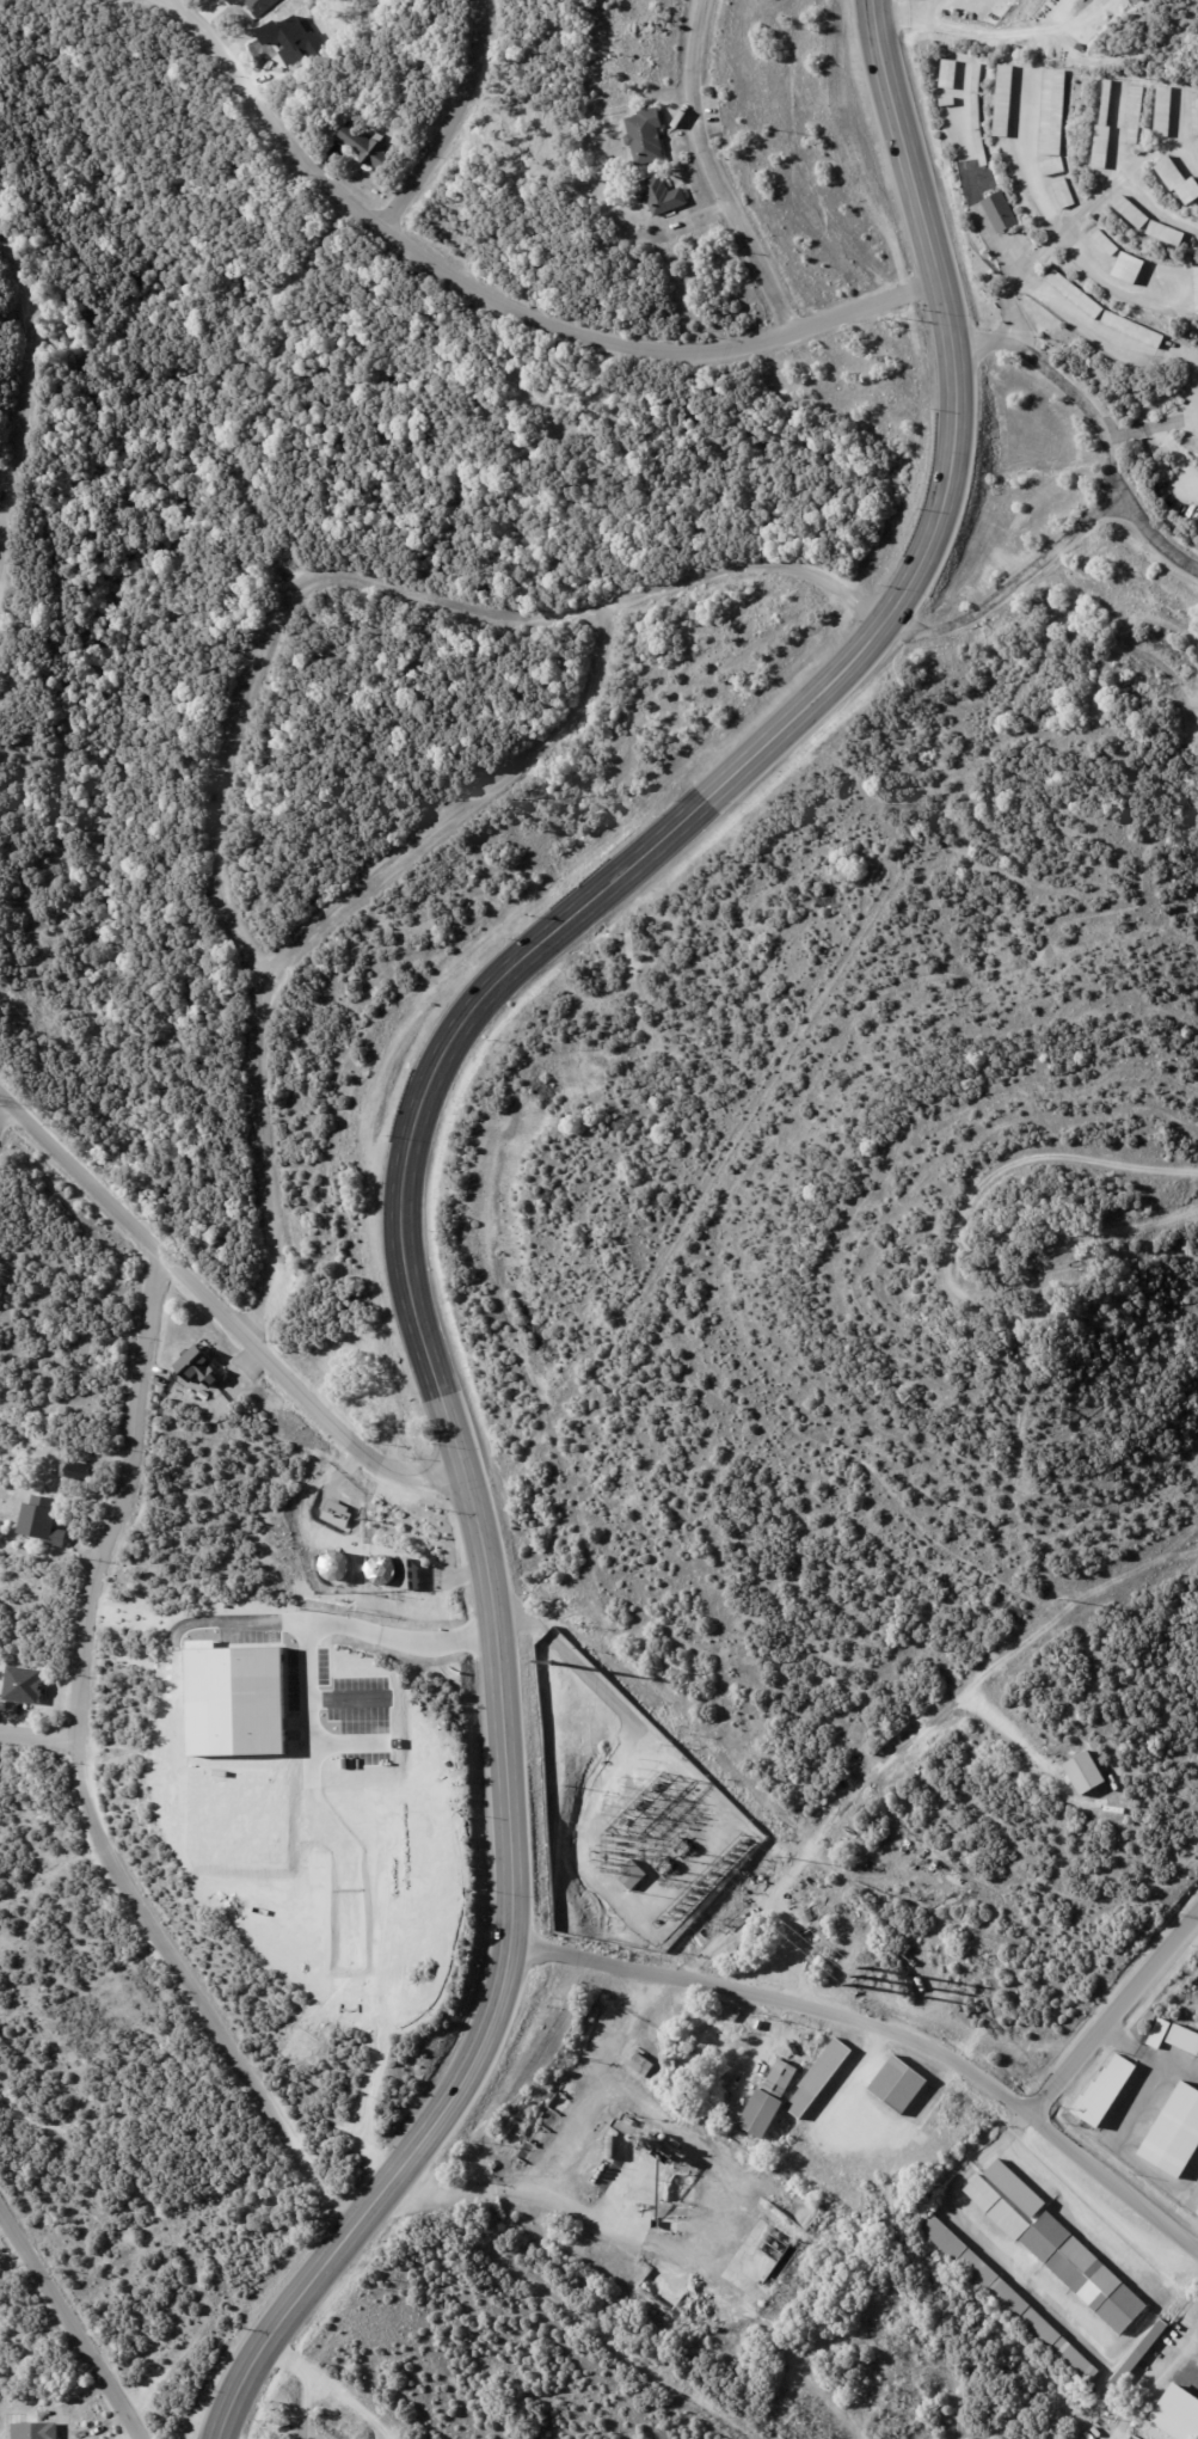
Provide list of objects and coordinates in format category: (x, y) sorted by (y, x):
building: (231, 1)
building: (258, 5)
road: (897, 10)
road: (1007, 30)
building: (950, 75)
building: (978, 78)
building: (1006, 102)
building: (948, 103)
building: (977, 112)
building: (1165, 112)
building: (1055, 114)
building: (1135, 114)
building: (1196, 116)
road: (1180, 117)
road: (454, 118)
building: (1105, 133)
building: (646, 134)
building: (1197, 143)
building: (364, 145)
building: (982, 148)
building: (1053, 167)
road: (720, 170)
road: (1123, 176)
building: (1179, 182)
building: (1065, 194)
building: (661, 195)
building: (1002, 213)
building: (1134, 214)
road: (1052, 217)
road: (1077, 219)
building: (1167, 235)
building: (1106, 243)
building: (1129, 269)
road: (1015, 271)
building: (1196, 287)
building: (1075, 294)
road: (496, 304)
building: (1134, 330)
road: (24, 405)
road: (1100, 427)
road: (1153, 427)
road: (1177, 458)
road: (385, 570)
road: (1015, 583)
road: (330, 896)
road: (2, 1110)
road: (404, 1157)
road: (1012, 1166)
building: (1073, 1266)
road: (223, 1306)
building: (197, 1366)
building: (74, 1471)
building: (337, 1514)
building: (42, 1521)
power tower: (1197, 1540)
building: (410, 1574)
power tower: (1065, 1599)
road: (355, 1620)
power tower: (553, 1679)
building: (23, 1685)
road: (309, 1693)
road: (37, 1736)
building: (988, 1739)
road: (84, 1772)
building: (1086, 1773)
building: (824, 1793)
building: (951, 1807)
power substation: (629, 1812)
power tower: (785, 1856)
building: (632, 1875)
power tower: (862, 1977)
road: (1117, 2015)
building: (729, 2022)
road: (885, 2029)
building: (1160, 2034)
building: (1184, 2039)
building: (713, 2042)
road: (1150, 2054)
building: (646, 2069)
building: (819, 2078)
building: (899, 2085)
building: (1106, 2092)
building: (769, 2101)
building: (1175, 2134)
building: (610, 2147)
road: (564, 2153)
building: (1016, 2189)
building: (997, 2208)
building: (1197, 2213)
building: (1086, 2274)
building: (1009, 2299)
road: (73, 2324)
building: (1136, 2361)
building: (35, 2429)

